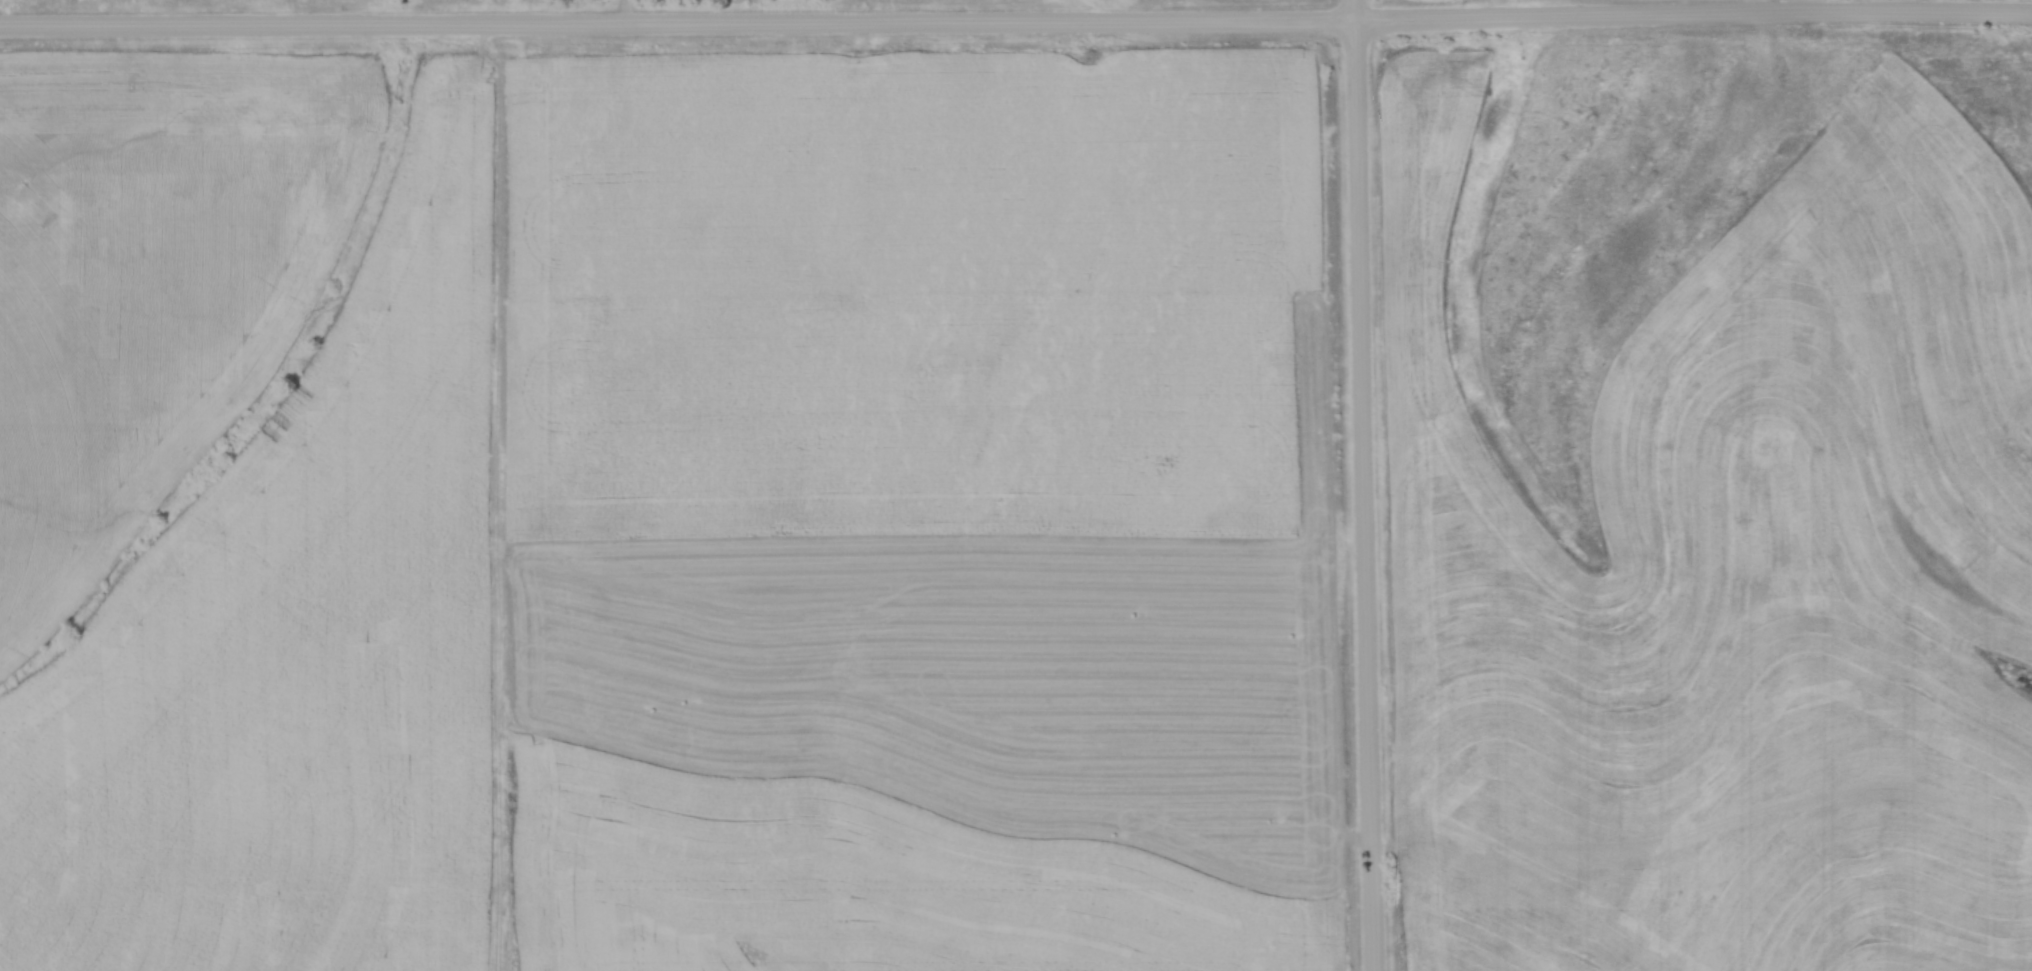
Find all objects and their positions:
road: (1016, 20)
road: (1364, 485)

